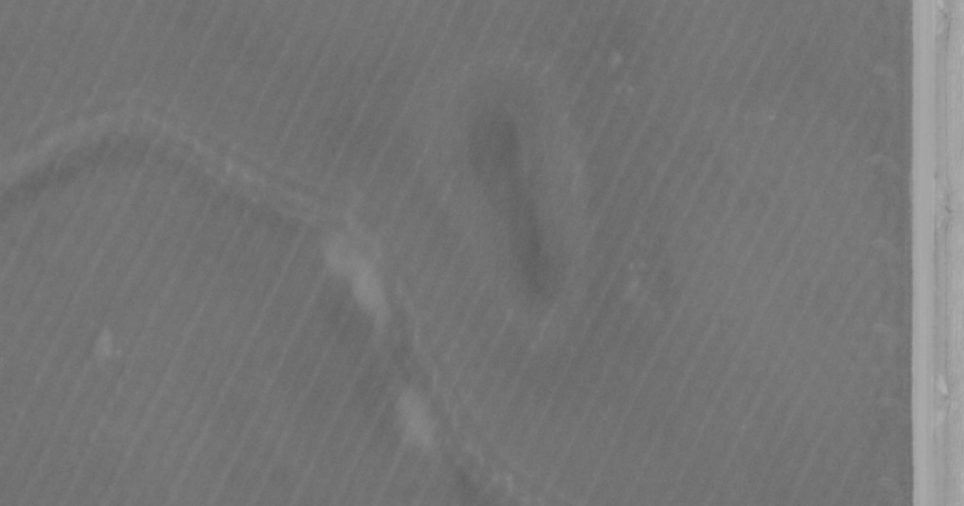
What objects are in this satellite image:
crop: (452, 253)
road: (922, 253)
crop: (952, 254)

